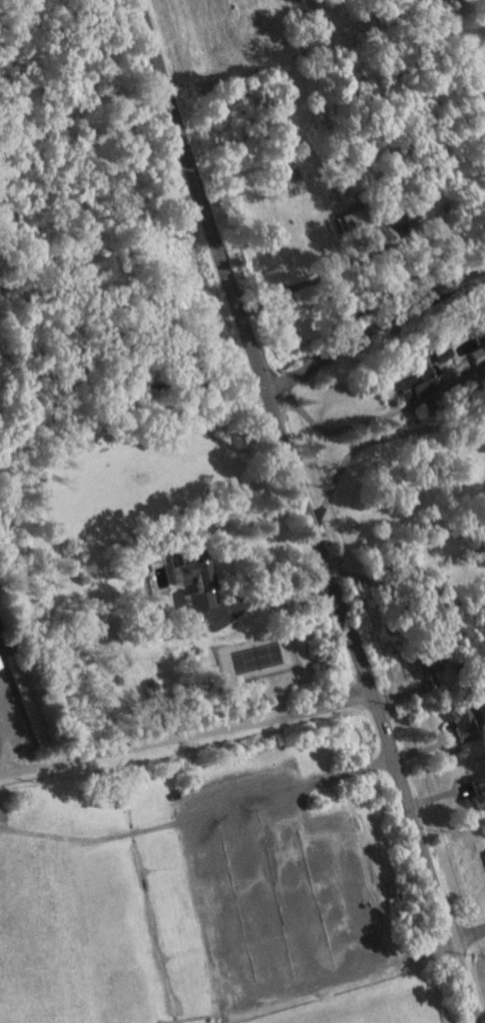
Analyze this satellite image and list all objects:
building: (447, 0)
road: (320, 276)
road: (373, 327)
building: (435, 355)
building: (414, 385)
road: (354, 425)
road: (373, 439)
road: (307, 512)
road: (264, 594)
road: (403, 614)
building: (0, 631)
park: (256, 659)
building: (0, 665)
building: (23, 700)
building: (463, 725)
road: (203, 733)
road: (7, 742)
road: (16, 769)
building: (476, 793)
building: (484, 851)
road: (322, 879)
road: (291, 888)
road: (253, 898)
park: (30, 915)
road: (204, 919)
road: (469, 937)
park: (33, 1001)
park: (391, 1016)

